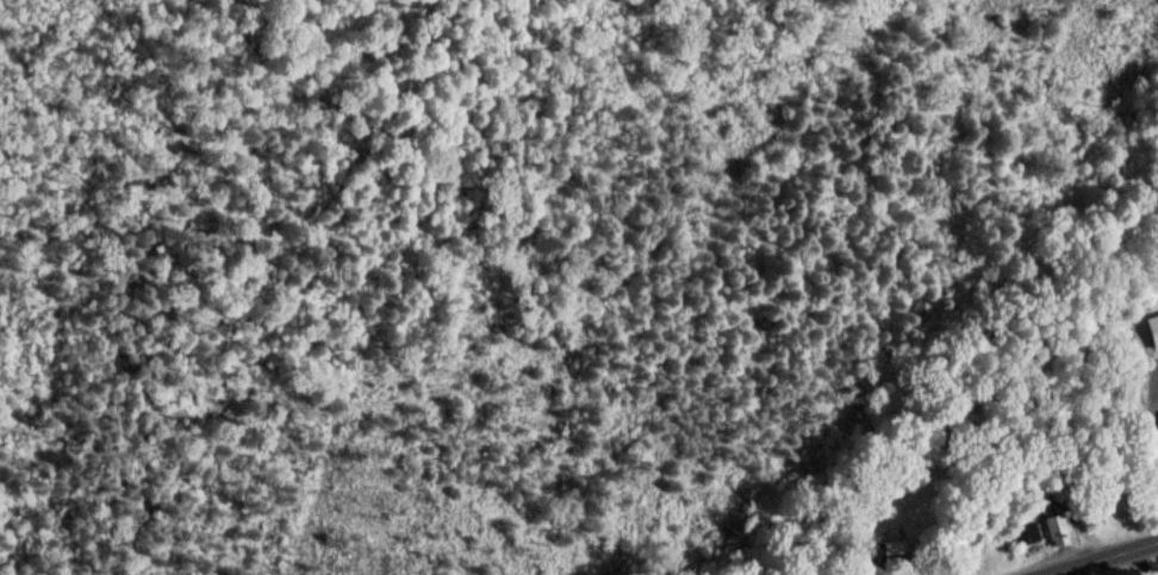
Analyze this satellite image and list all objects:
building: (1059, 526)
road: (1112, 561)
road: (1141, 564)

